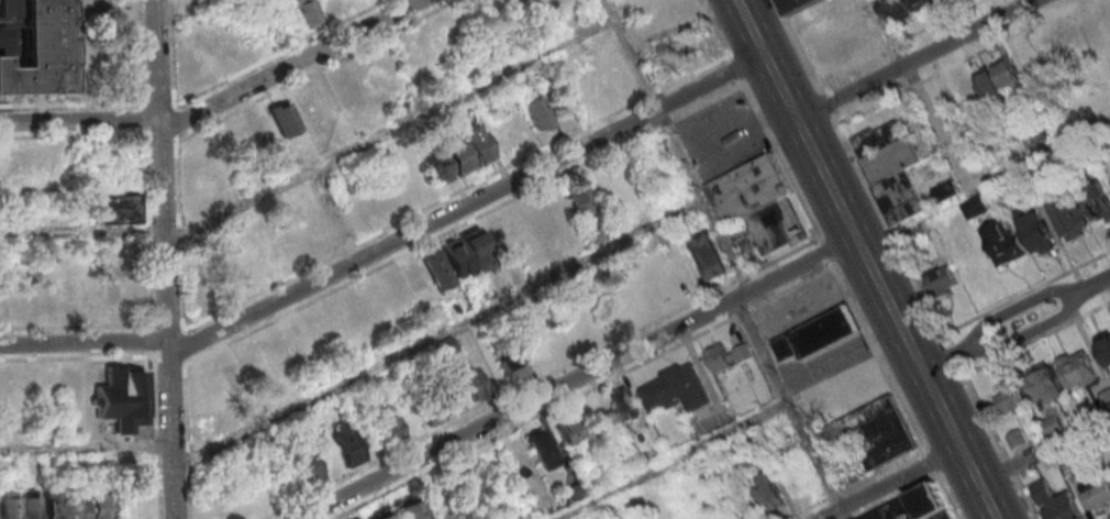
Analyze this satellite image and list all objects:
building: (922, 3)
building: (797, 4)
road: (177, 9)
building: (308, 12)
road: (889, 31)
building: (1069, 42)
building: (32, 47)
building: (1050, 52)
road: (157, 57)
road: (912, 58)
road: (289, 65)
road: (734, 68)
road: (313, 69)
building: (1007, 70)
road: (230, 75)
building: (978, 88)
road: (122, 101)
road: (158, 101)
building: (537, 113)
road: (80, 118)
building: (286, 119)
road: (174, 122)
road: (388, 129)
road: (88, 134)
road: (159, 135)
road: (675, 144)
building: (467, 150)
building: (436, 167)
building: (910, 176)
road: (162, 177)
road: (977, 179)
building: (580, 198)
building: (1097, 200)
road: (466, 205)
building: (974, 206)
building: (115, 207)
building: (758, 211)
building: (1070, 219)
road: (399, 220)
building: (541, 220)
road: (463, 223)
road: (82, 230)
building: (1034, 230)
building: (1002, 243)
road: (825, 251)
building: (712, 256)
road: (865, 259)
building: (446, 264)
building: (941, 280)
road: (1096, 280)
building: (114, 298)
road: (151, 303)
road: (1014, 307)
road: (167, 325)
road: (437, 330)
road: (1026, 331)
building: (815, 335)
road: (615, 339)
road: (84, 341)
road: (168, 342)
building: (1103, 346)
road: (92, 356)
building: (726, 356)
road: (941, 361)
road: (184, 362)
building: (511, 366)
building: (1078, 371)
building: (235, 375)
road: (575, 377)
building: (1048, 386)
building: (675, 389)
road: (581, 391)
building: (446, 395)
building: (123, 398)
building: (1105, 399)
building: (1009, 400)
building: (623, 405)
road: (787, 408)
building: (388, 424)
road: (911, 427)
building: (568, 430)
road: (156, 437)
building: (885, 437)
building: (1017, 438)
road: (187, 441)
building: (346, 443)
road: (86, 446)
road: (1043, 446)
building: (543, 450)
road: (666, 460)
road: (930, 461)
building: (307, 468)
building: (1108, 478)
road: (174, 482)
road: (887, 482)
road: (914, 485)
building: (576, 492)
building: (1097, 492)
building: (769, 494)
building: (1054, 501)
building: (54, 503)
building: (77, 504)
building: (9, 505)
building: (32, 506)
building: (100, 506)
building: (917, 506)
building: (411, 508)
building: (381, 515)

